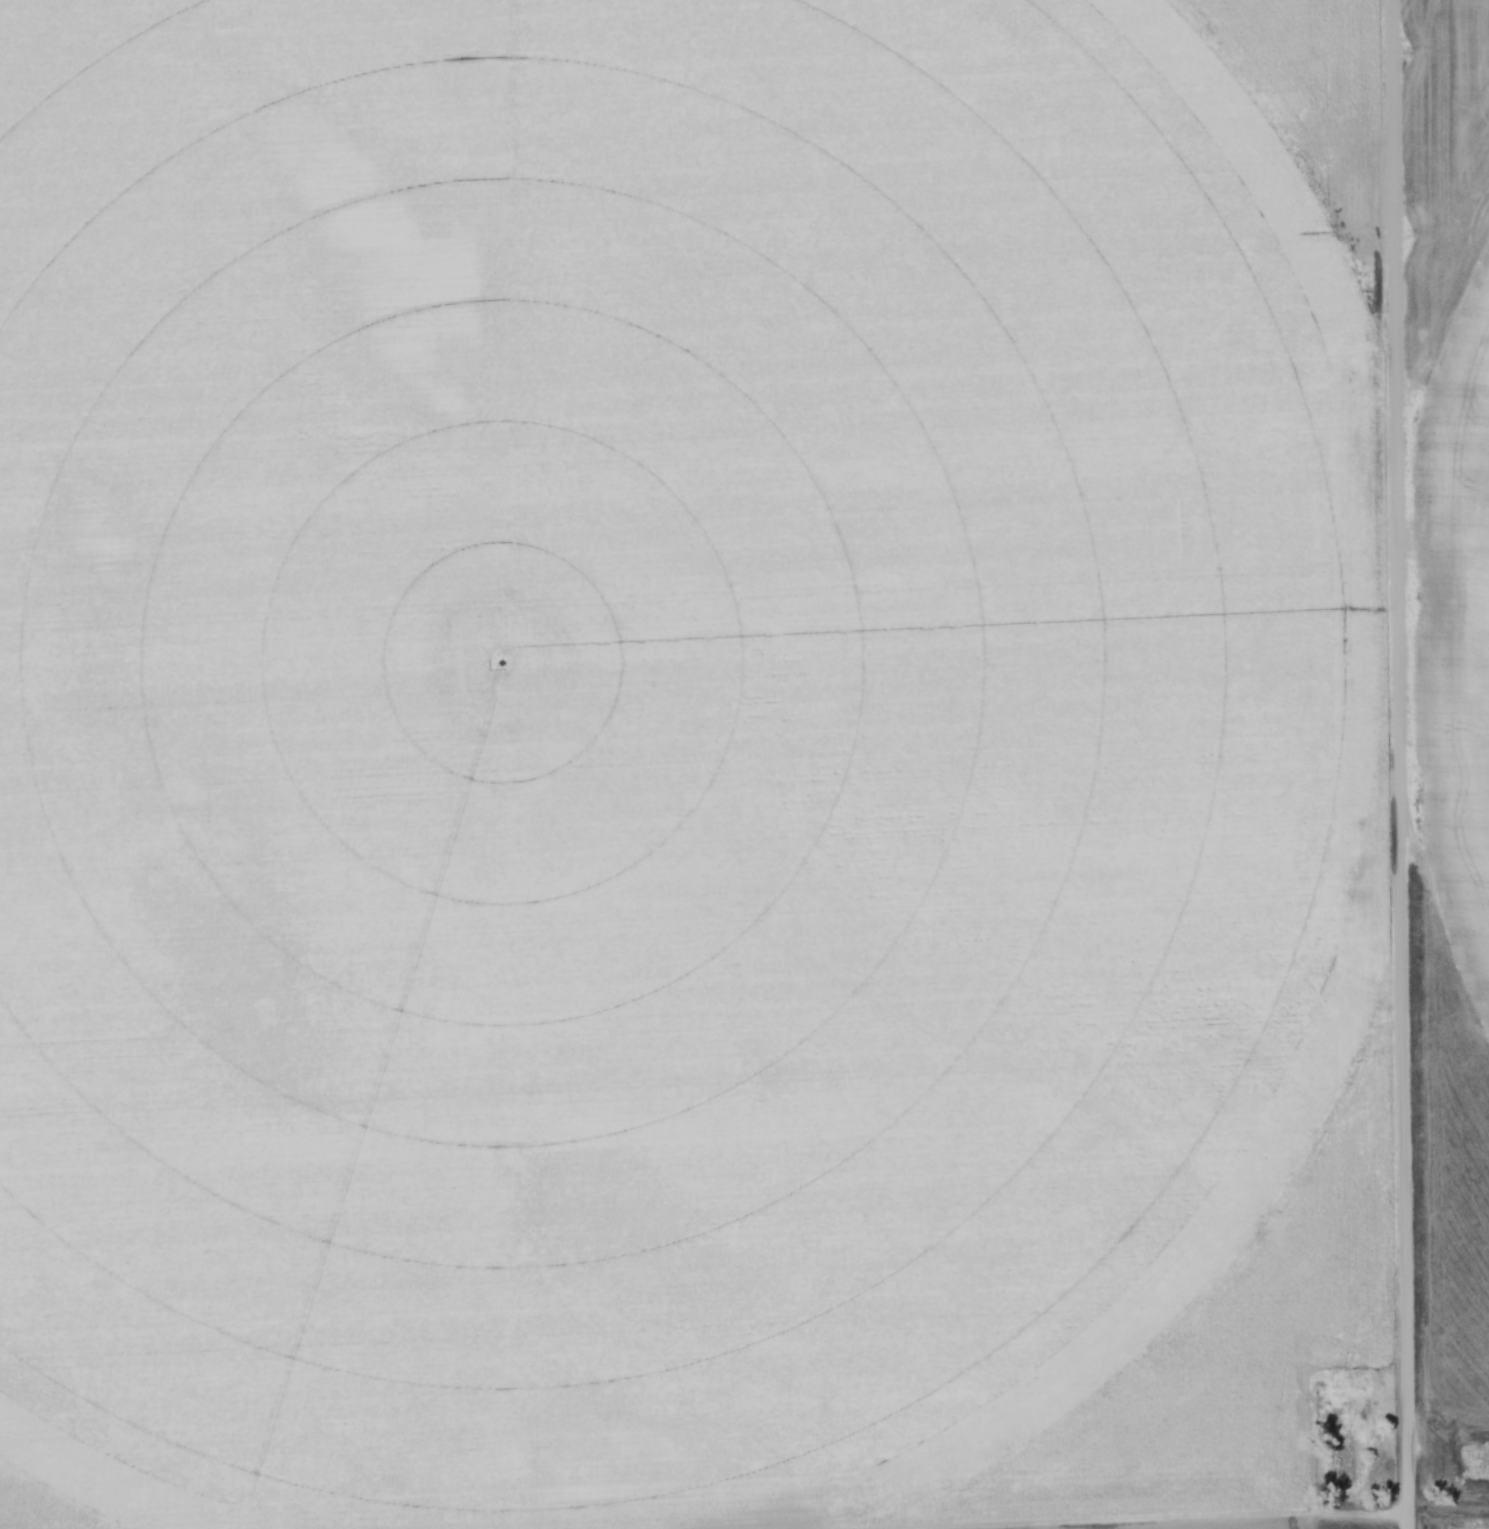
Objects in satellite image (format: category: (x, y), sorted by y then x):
crop: (1451, 451)
crop: (649, 741)
road: (1398, 764)
crop: (1232, 1525)

